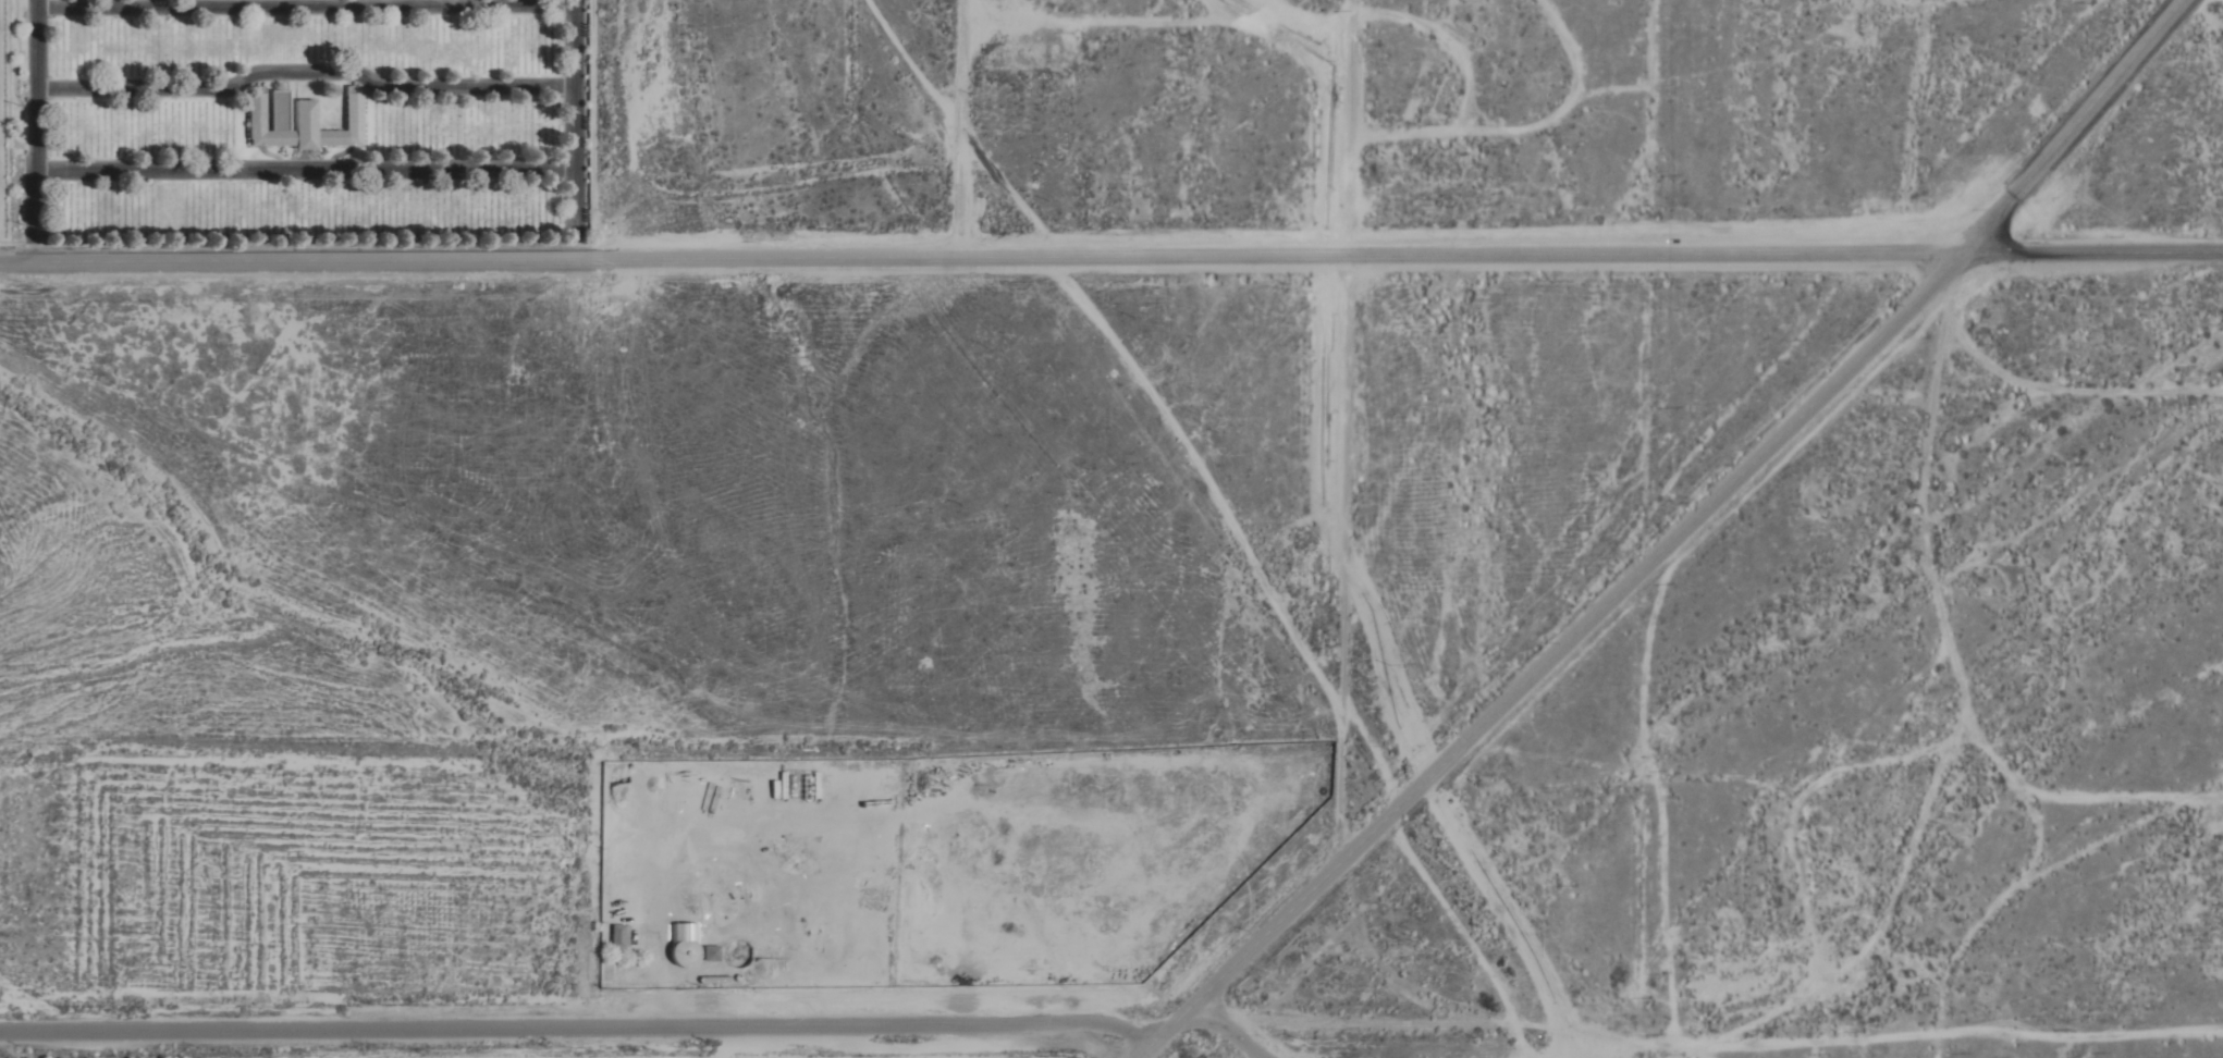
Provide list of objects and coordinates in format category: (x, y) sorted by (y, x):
road: (577, 46)
road: (309, 79)
building: (299, 123)
park: (312, 125)
road: (963, 130)
road: (41, 133)
road: (578, 176)
road: (2092, 253)
road: (980, 259)
road: (1670, 539)
building: (871, 898)
building: (615, 936)
building: (684, 952)
road: (580, 1029)

